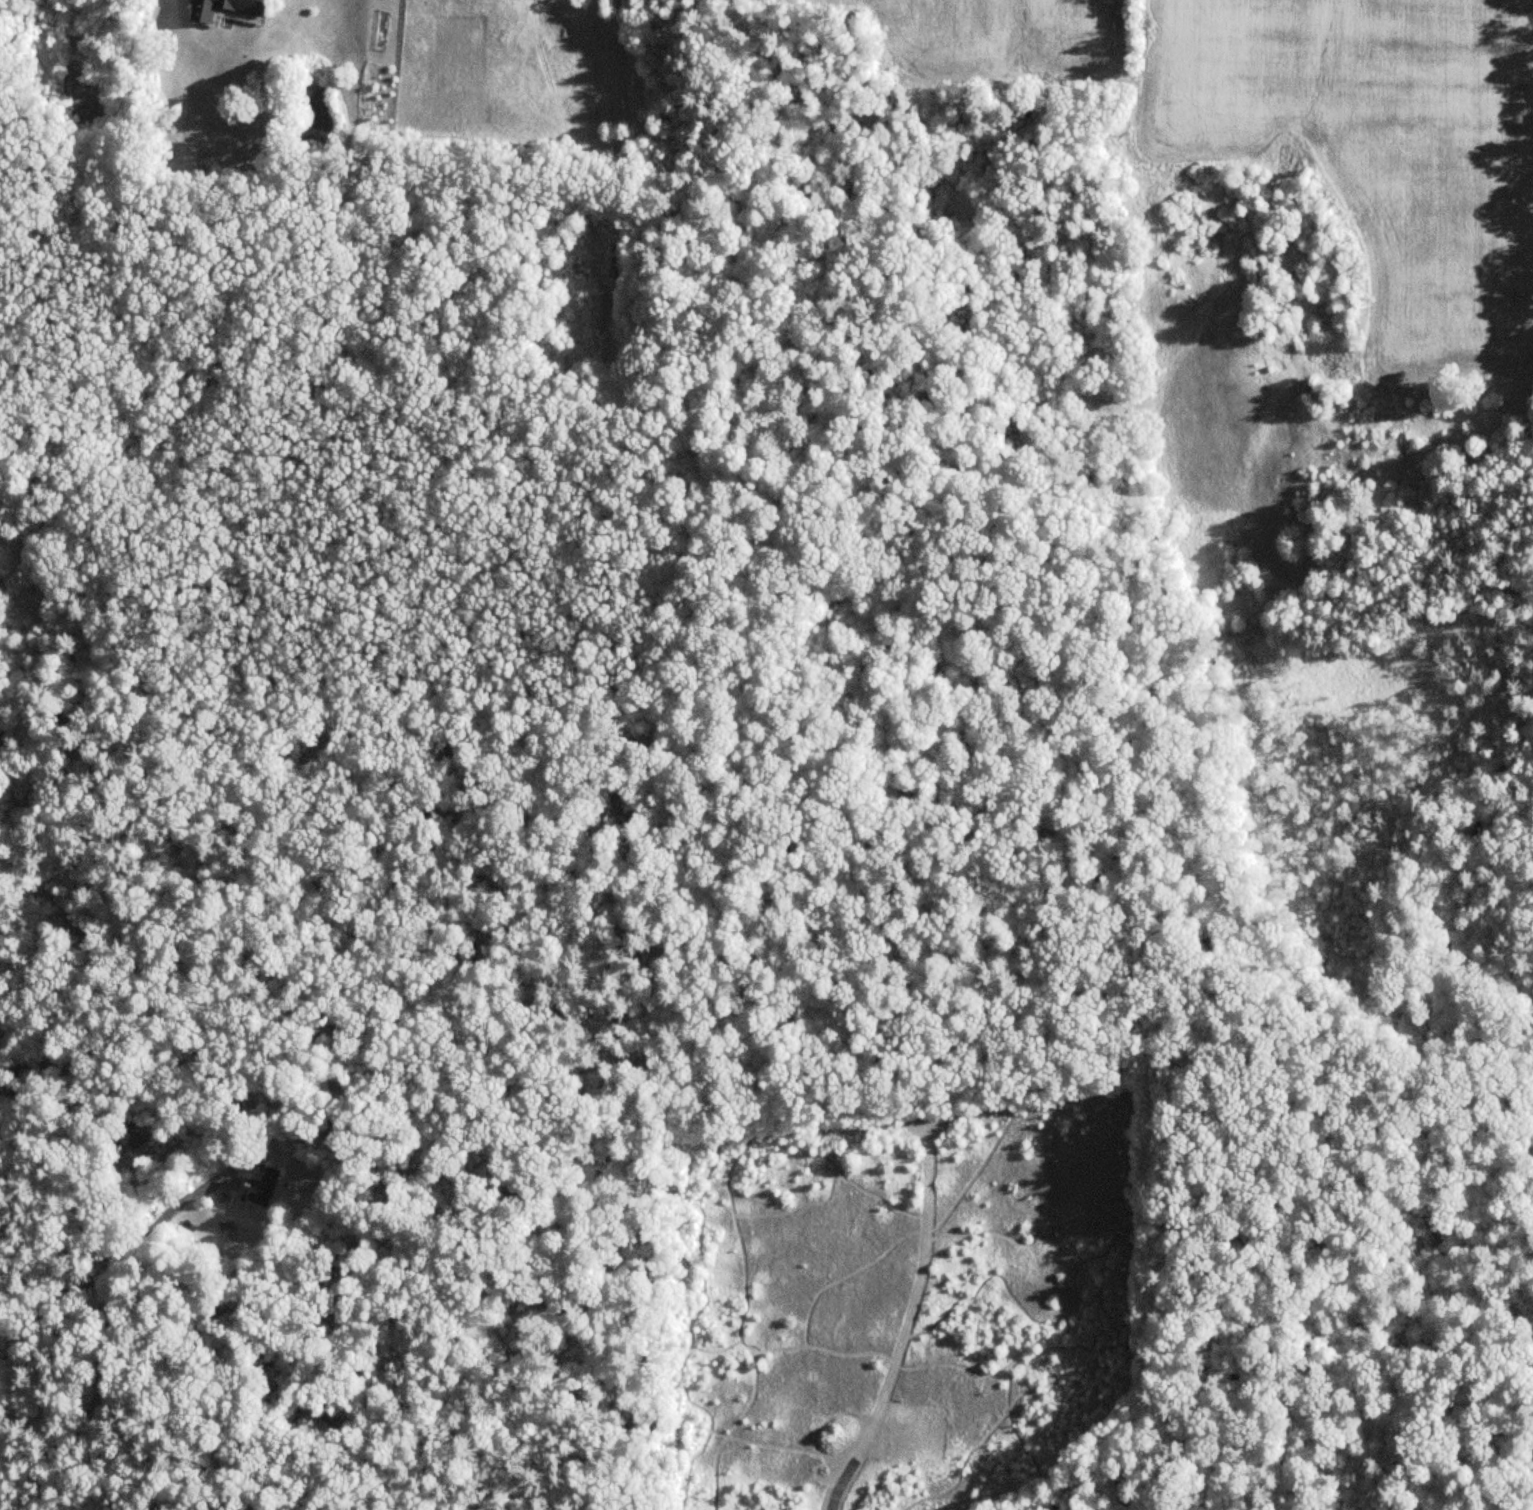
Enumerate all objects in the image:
building: (221, 9)
building: (257, 1188)
road: (93, 1277)

